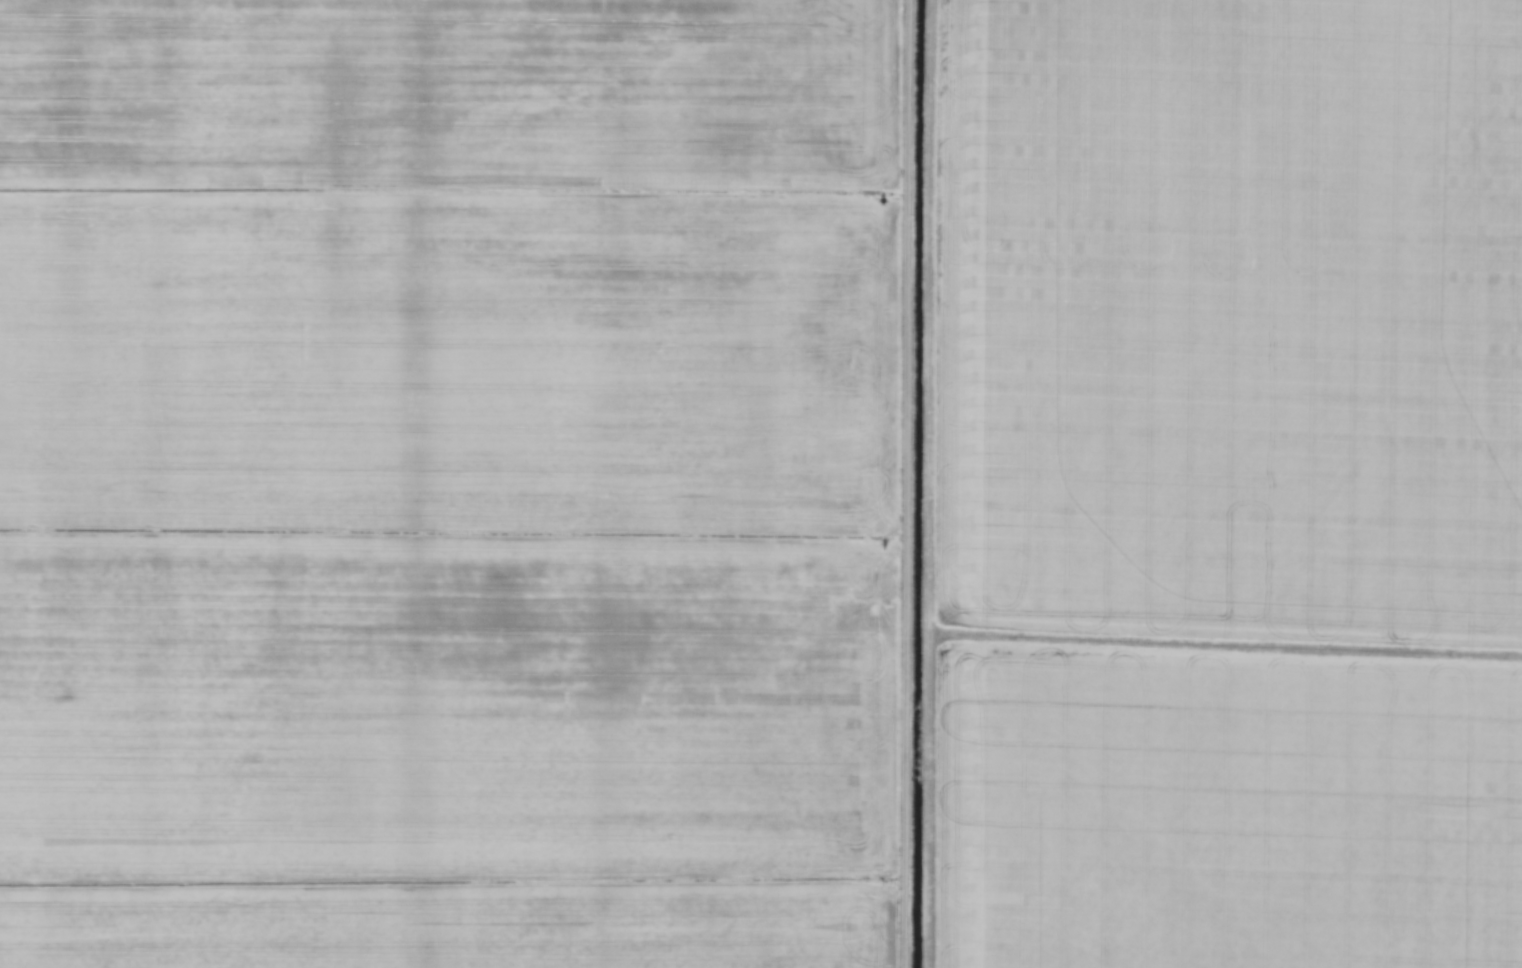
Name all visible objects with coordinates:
crop: (448, 483)

